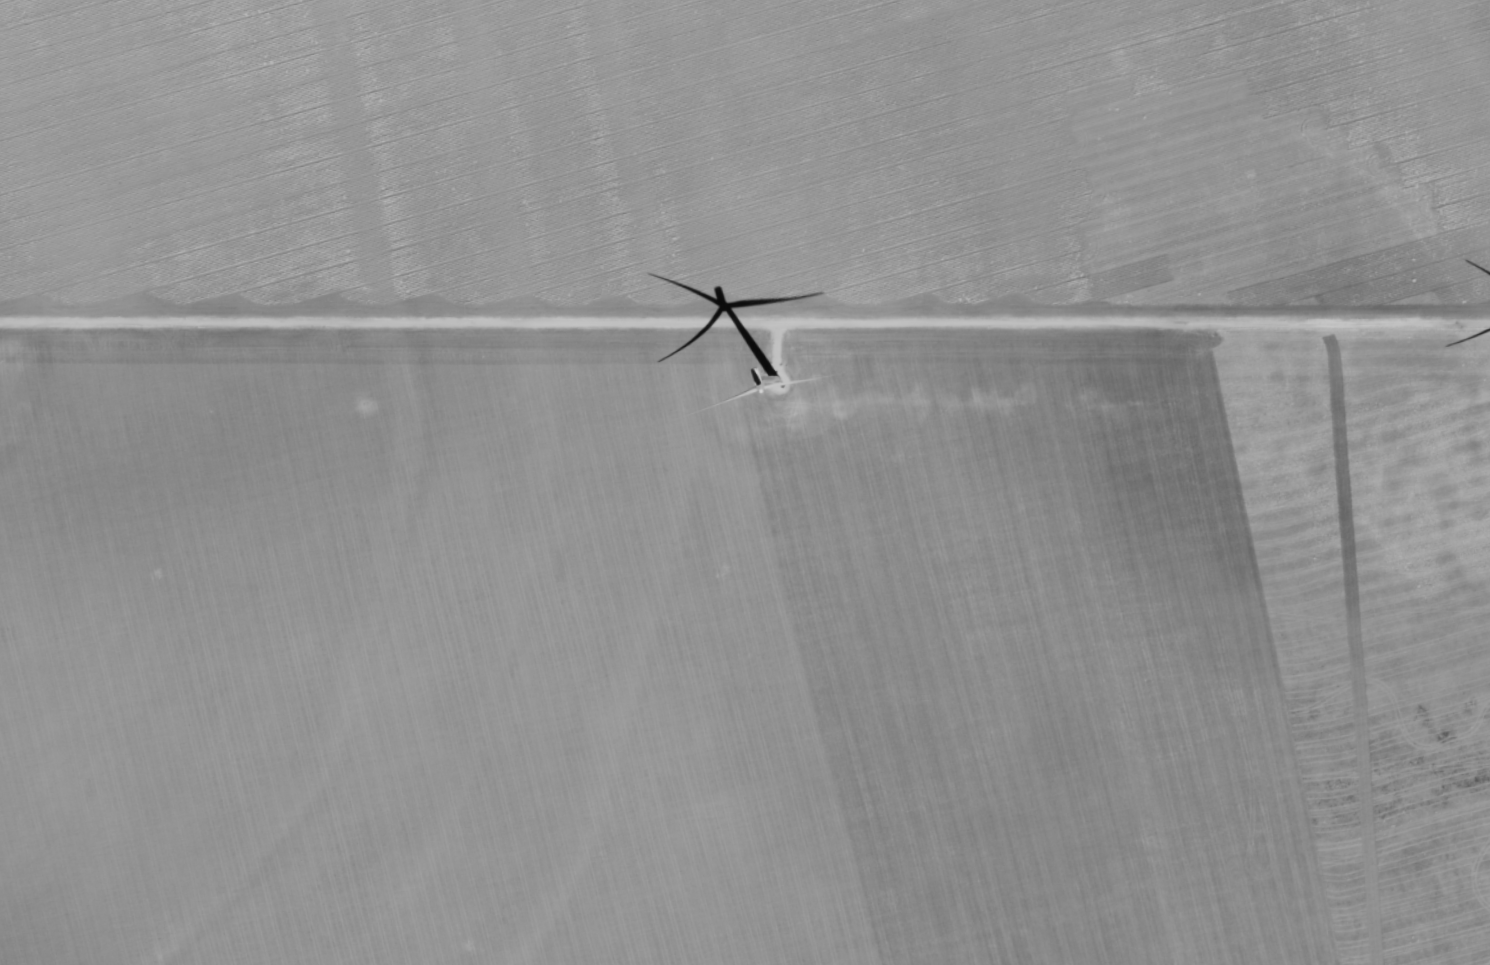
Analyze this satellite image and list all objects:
wind turbine: (775, 382)

